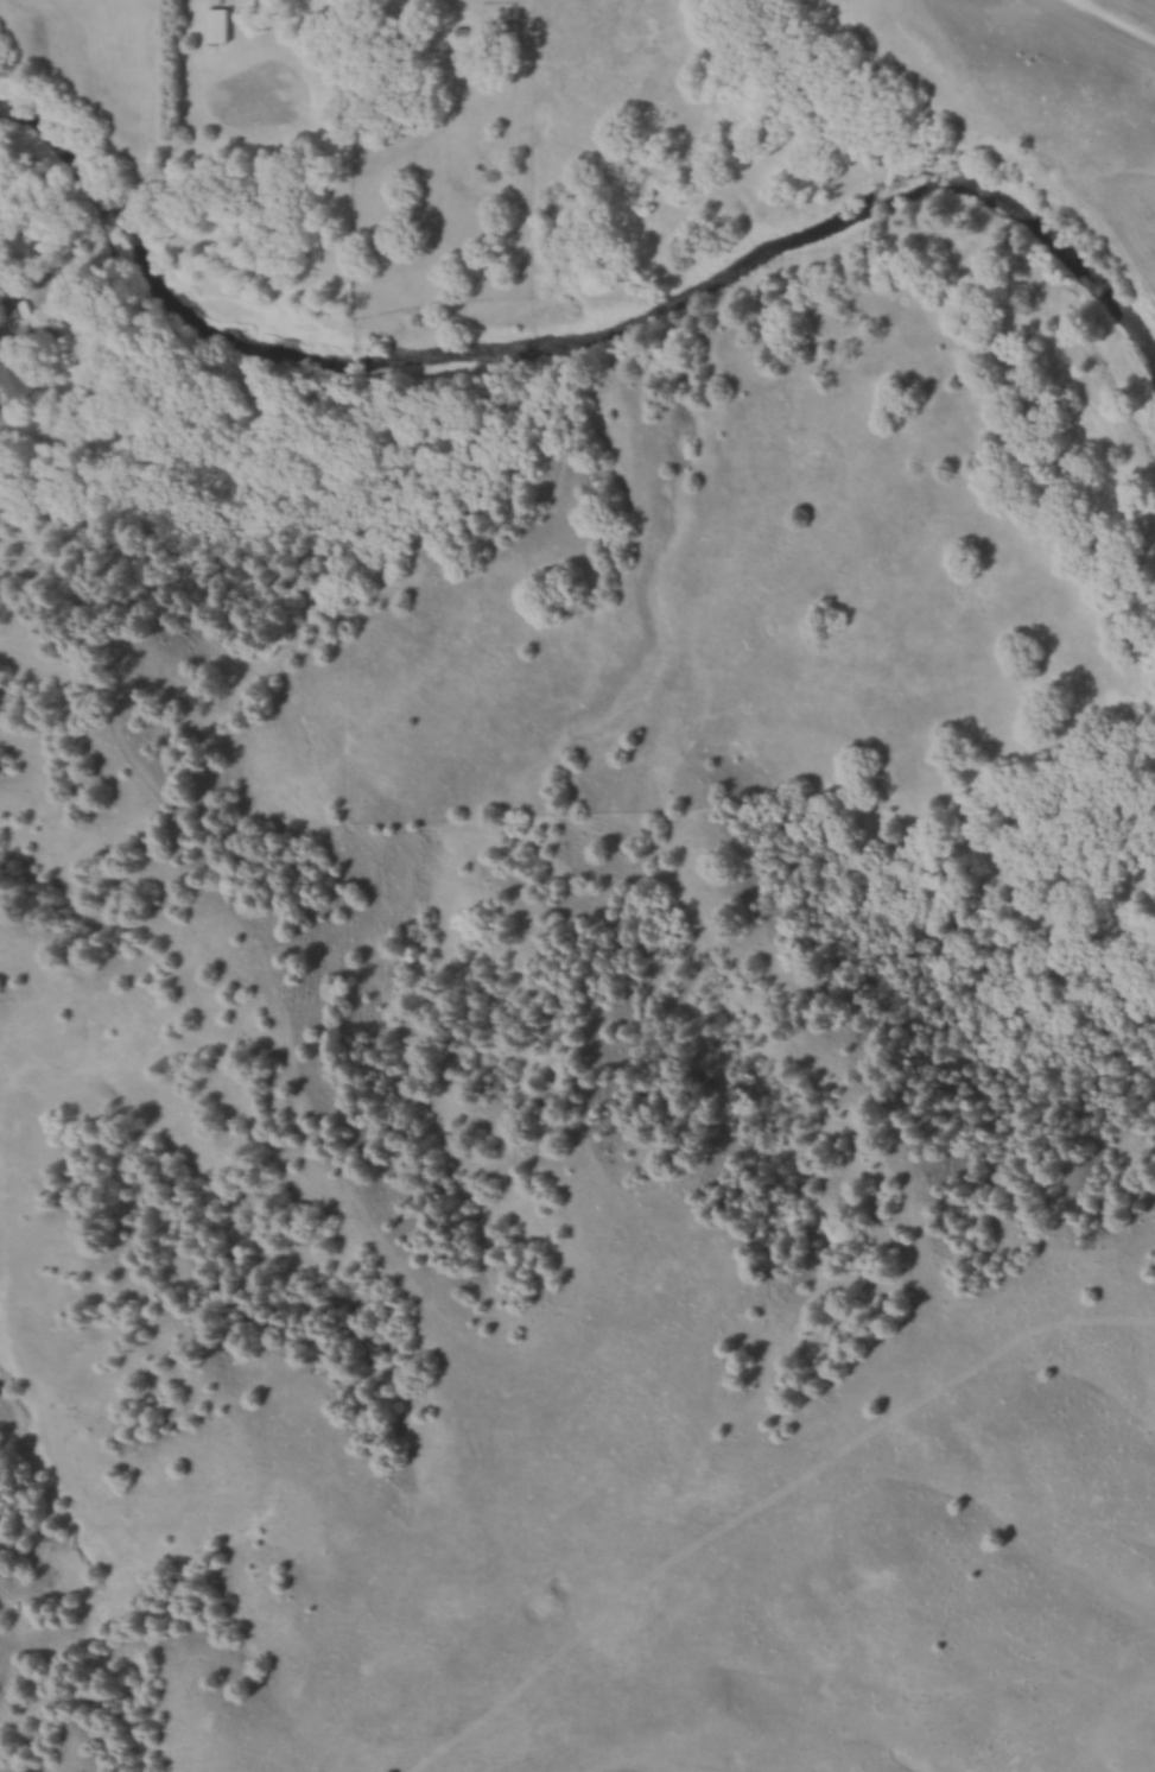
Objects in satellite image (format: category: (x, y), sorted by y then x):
road: (1108, 23)
building: (223, 26)
building: (12, 310)
building: (18, 384)
road: (11, 431)

